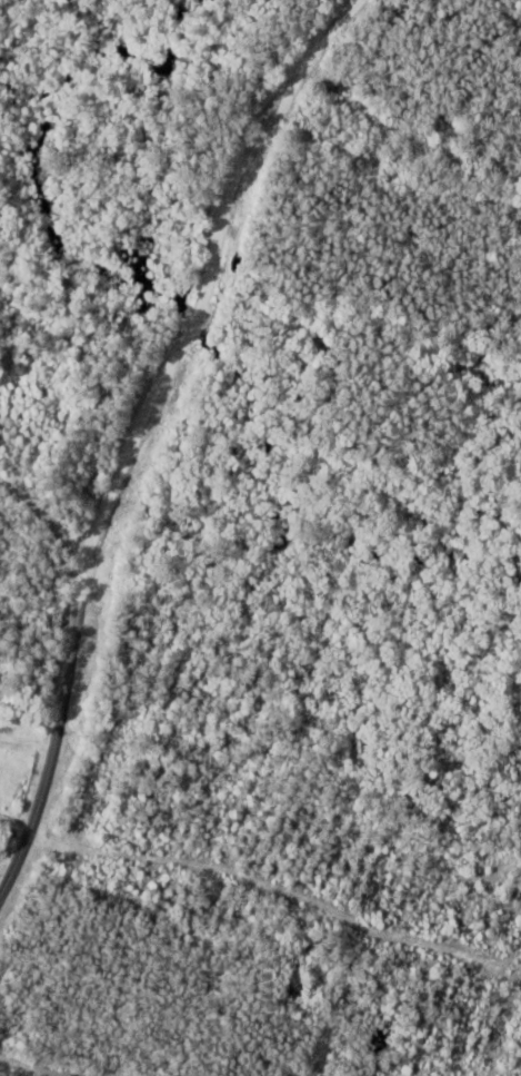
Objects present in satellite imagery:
road: (136, 436)
road: (46, 519)

